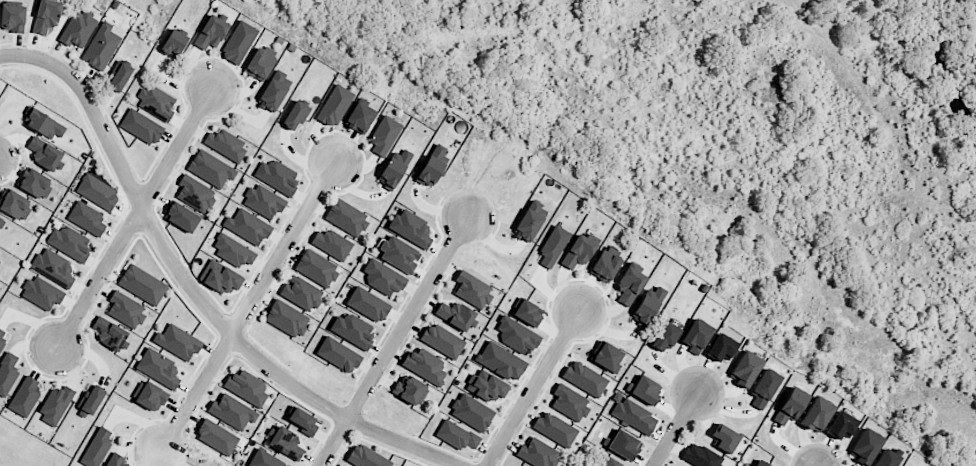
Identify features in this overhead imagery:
building: (46, 16)
building: (13, 18)
building: (78, 29)
building: (211, 32)
building: (239, 42)
building: (174, 43)
building: (102, 45)
road: (14, 55)
building: (260, 63)
building: (118, 76)
building: (274, 90)
building: (156, 102)
building: (335, 105)
building: (295, 115)
building: (43, 124)
building: (141, 126)
building: (385, 135)
building: (225, 144)
building: (45, 154)
building: (432, 166)
building: (210, 169)
building: (394, 169)
building: (277, 176)
building: (34, 183)
building: (97, 192)
building: (195, 193)
building: (263, 201)
building: (15, 205)
building: (181, 216)
road: (137, 217)
building: (346, 217)
building: (87, 219)
building: (530, 221)
building: (1, 222)
building: (247, 227)
building: (411, 228)
building: (68, 242)
building: (332, 244)
building: (233, 251)
building: (578, 251)
building: (399, 254)
building: (606, 264)
building: (53, 267)
building: (316, 268)
building: (220, 277)
building: (383, 277)
building: (142, 284)
building: (629, 285)
building: (472, 289)
building: (301, 292)
building: (42, 293)
road: (201, 300)
building: (367, 304)
building: (648, 304)
road: (249, 308)
building: (126, 309)
building: (455, 314)
building: (287, 318)
building: (353, 329)
building: (109, 332)
building: (516, 335)
building: (696, 335)
building: (2, 337)
building: (665, 337)
road: (395, 340)
building: (442, 341)
building: (177, 342)
building: (720, 348)
building: (338, 354)
building: (501, 361)
building: (424, 365)
building: (158, 368)
building: (745, 368)
building: (8, 372)
building: (584, 378)
building: (486, 386)
building: (247, 387)
building: (763, 388)
building: (410, 389)
road: (534, 389)
building: (643, 389)
building: (150, 396)
building: (25, 397)
building: (91, 398)
building: (569, 402)
building: (793, 402)
building: (55, 404)
building: (232, 411)
building: (471, 412)
building: (816, 414)
building: (634, 415)
building: (841, 425)
building: (555, 429)
road: (676, 430)
building: (456, 435)
building: (216, 437)
building: (724, 438)
building: (285, 443)
building: (624, 445)
building: (866, 446)
building: (97, 447)
building: (537, 453)
building: (701, 456)
building: (366, 457)
building: (886, 458)
building: (266, 460)
building: (115, 461)
building: (610, 462)
building: (760, 463)

